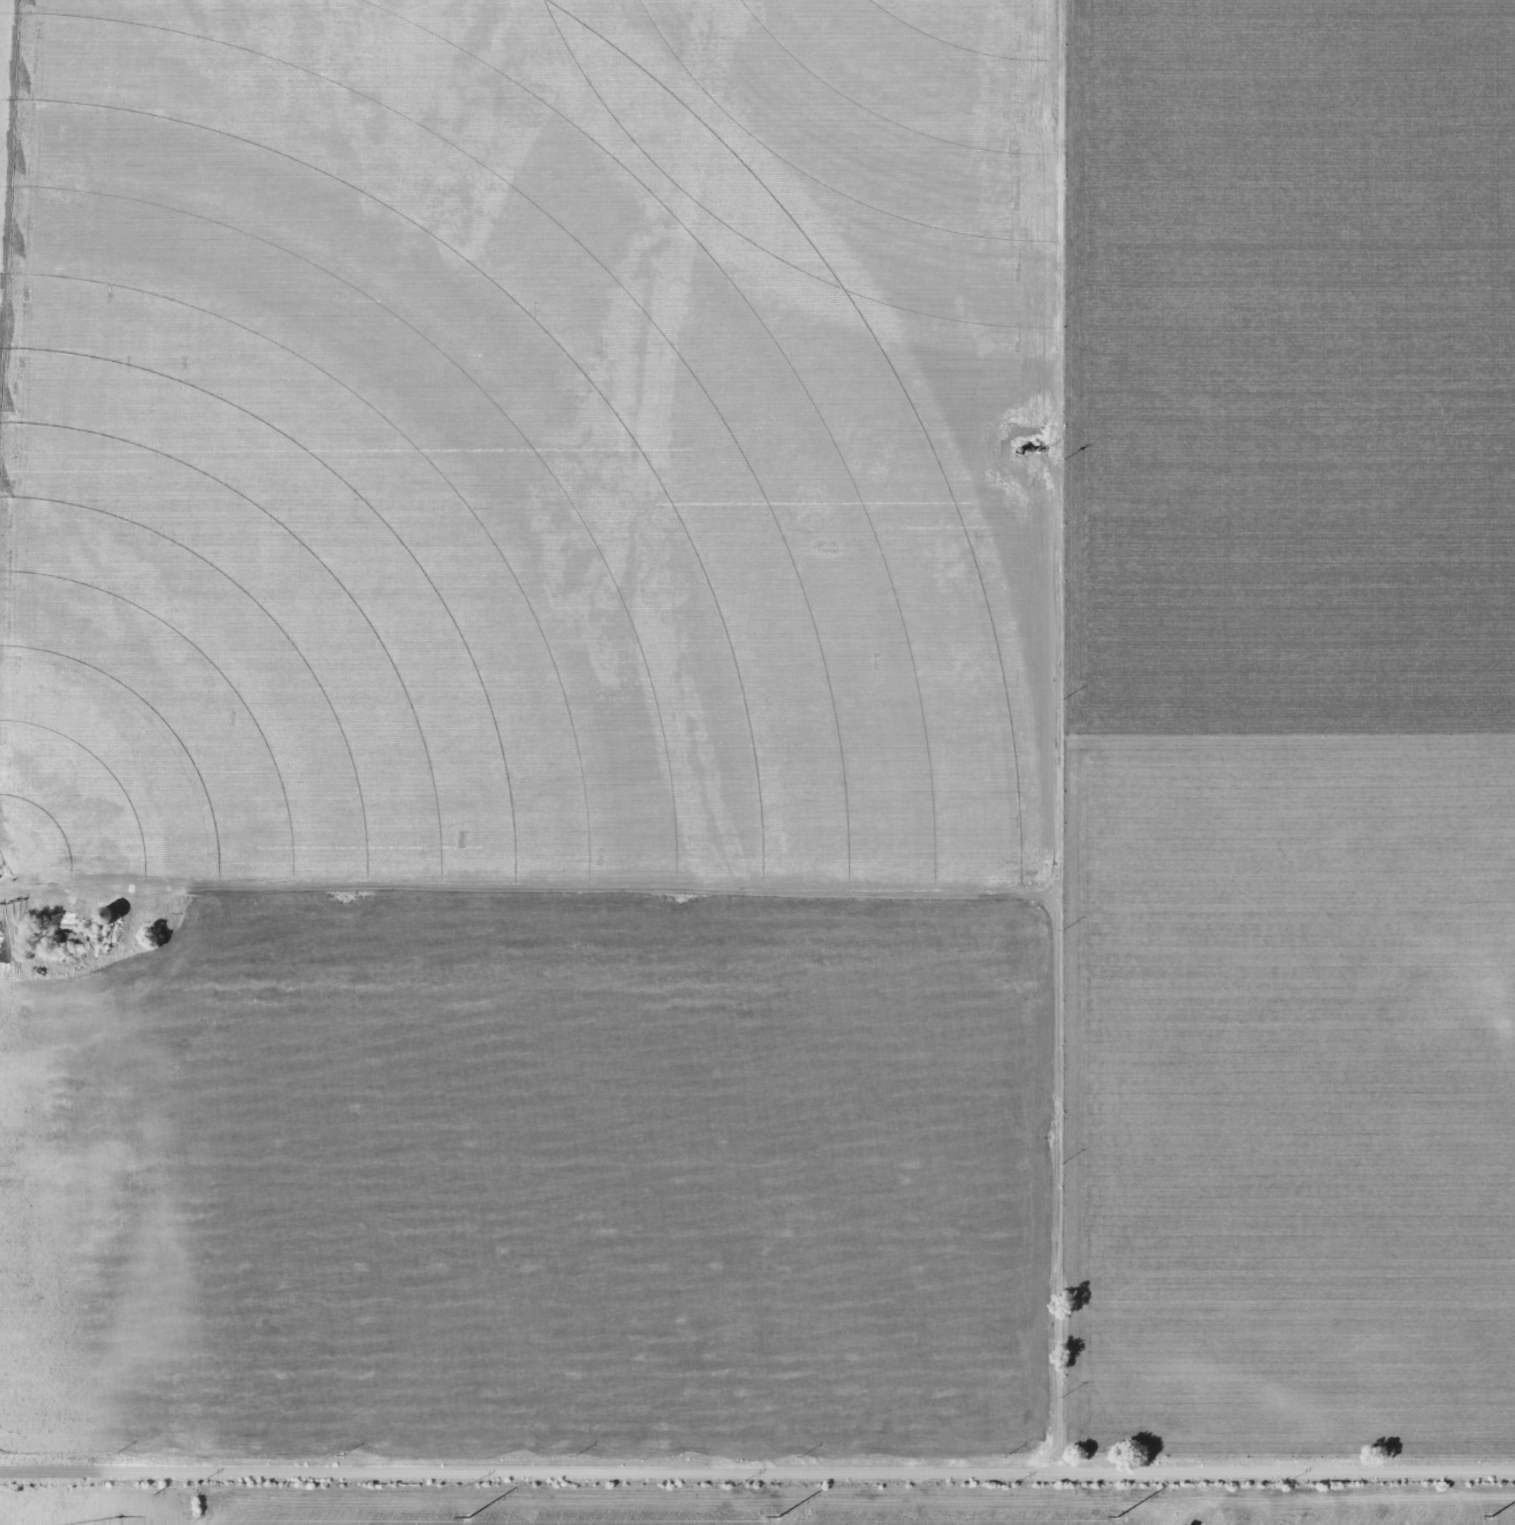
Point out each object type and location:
road: (757, 1472)
power tower: (194, 1484)
power tower: (739, 1484)
power tower: (1009, 1484)
power tower: (1287, 1484)
power tower: (467, 1485)
power tower: (117, 1515)
power tower: (463, 1516)
power tower: (1109, 1516)
power tower: (1489, 1516)
power tower: (767, 1517)

